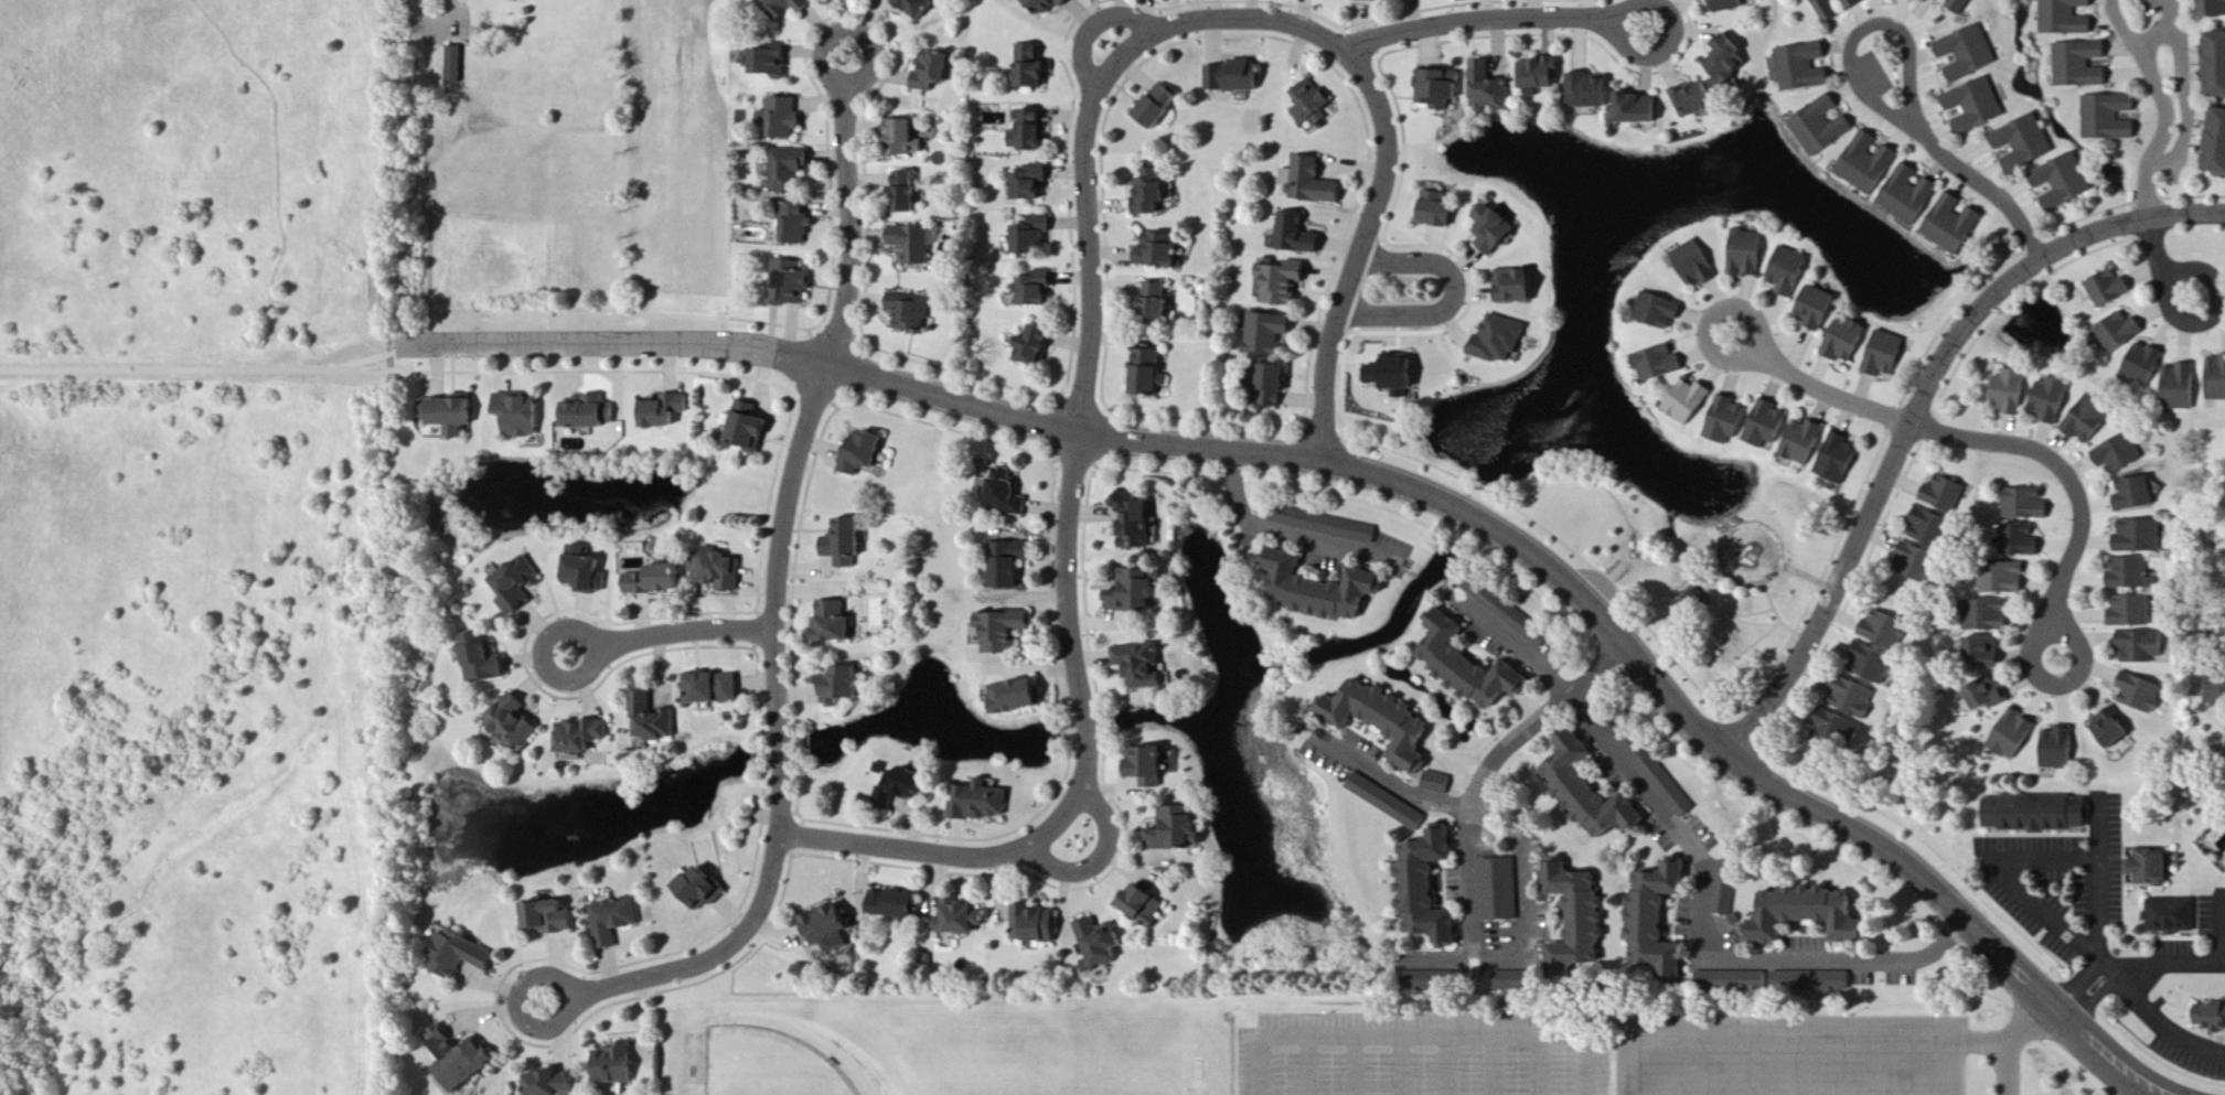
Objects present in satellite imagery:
building: (1359, 0)
building: (1943, 0)
building: (1855, 3)
building: (1049, 4)
building: (1729, 6)
building: (1964, 6)
building: (922, 7)
parking lot: (2154, 7)
building: (788, 9)
building: (2208, 9)
building: (1830, 10)
building: (2062, 18)
road: (1495, 21)
road: (435, 23)
road: (2159, 33)
road: (2128, 35)
building: (1970, 54)
building: (775, 62)
building: (1731, 62)
building: (457, 64)
building: (2076, 65)
building: (2211, 65)
building: (1806, 67)
building: (1037, 68)
building: (935, 72)
building: (1543, 74)
parking lot: (1875, 75)
road: (1911, 76)
building: (1243, 77)
building: (1217, 78)
building: (1444, 88)
road: (1863, 88)
building: (1490, 90)
building: (1594, 92)
building: (1700, 99)
building: (1315, 104)
building: (1979, 106)
building: (1164, 107)
road: (2187, 108)
building: (1644, 109)
building: (2105, 117)
building: (787, 118)
road: (1090, 121)
building: (1825, 127)
building: (1035, 131)
building: (909, 138)
road: (2161, 142)
building: (2028, 143)
building: (2212, 143)
building: (1871, 164)
building: (793, 169)
building: (1314, 183)
building: (2067, 183)
building: (1038, 184)
road: (1993, 192)
building: (911, 193)
building: (1154, 195)
building: (1912, 196)
building: (1441, 211)
road: (851, 213)
building: (801, 225)
building: (1956, 226)
building: (1497, 230)
building: (1039, 236)
building: (1302, 236)
building: (914, 246)
building: (1162, 253)
road: (1360, 254)
building: (1750, 254)
road: (2161, 264)
building: (1698, 265)
building: (1791, 273)
building: (1285, 281)
building: (793, 283)
building: (1519, 287)
building: (2105, 288)
building: (1042, 290)
building: (1162, 300)
road: (1455, 300)
building: (1818, 308)
building: (913, 311)
building: (1660, 311)
building: (2117, 332)
building: (1272, 333)
building: (1849, 340)
building: (1502, 341)
building: (1041, 347)
building: (1887, 354)
building: (2138, 363)
building: (1662, 365)
road: (201, 372)
building: (1154, 374)
building: (1399, 374)
building: (2190, 384)
building: (1280, 386)
road: (1819, 390)
building: (2012, 394)
building: (2055, 400)
building: (1690, 402)
building: (671, 412)
building: (590, 414)
building: (458, 415)
building: (524, 415)
road: (1917, 415)
building: (1729, 420)
building: (2092, 420)
building: (1769, 425)
building: (753, 429)
building: (1806, 442)
building: (2112, 452)
building: (866, 453)
road: (1301, 459)
building: (1841, 459)
road: (2074, 486)
building: (2128, 493)
building: (1010, 494)
building: (1947, 494)
building: (2026, 505)
building: (1137, 524)
building: (1329, 526)
building: (1935, 529)
road: (1287, 534)
building: (2135, 536)
building: (2018, 541)
building: (848, 544)
building: (1921, 563)
building: (1014, 565)
building: (719, 569)
building: (586, 571)
building: (2124, 572)
building: (2000, 576)
building: (521, 588)
building: (1326, 590)
building: (1137, 594)
building: (2126, 610)
building: (1510, 613)
building: (1982, 613)
building: (837, 624)
building: (1889, 631)
building: (1007, 632)
building: (2137, 645)
road: (600, 650)
building: (1977, 651)
building: (486, 661)
building: (1873, 664)
building: (1145, 666)
building: (846, 687)
building: (718, 689)
building: (2212, 689)
building: (2135, 691)
building: (1980, 693)
building: (1021, 698)
building: (1858, 700)
building: (654, 718)
building: (1387, 722)
building: (516, 723)
building: (2105, 727)
building: (1840, 732)
building: (2010, 733)
building: (584, 737)
building: (2054, 748)
building: (1153, 769)
road: (1083, 775)
road: (1390, 780)
building: (1441, 783)
building: (907, 786)
building: (1597, 794)
building: (984, 803)
building: (1390, 804)
building: (2030, 813)
road: (779, 829)
road: (2098, 830)
building: (1180, 833)
road: (2015, 857)
road: (1098, 858)
road: (1705, 865)
building: (2143, 867)
building: (1432, 889)
building: (1727, 889)
building: (705, 890)
building: (1501, 891)
road: (1459, 897)
building: (898, 905)
building: (1148, 908)
building: (1796, 912)
building: (2167, 914)
building: (962, 917)
building: (1582, 919)
building: (1661, 919)
building: (552, 920)
building: (617, 922)
building: (1038, 925)
building: (832, 927)
building: (1104, 945)
building: (463, 957)
road: (2170, 963)
building: (1727, 979)
building: (1808, 980)
building: (1433, 981)
road: (2080, 985)
road: (2096, 1000)
building: (2206, 1016)
road: (2164, 1026)
road: (1793, 1034)
road: (2009, 1038)
road: (1420, 1041)
road: (2093, 1042)
road: (2051, 1045)
building: (464, 1060)
park: (764, 1064)
building: (620, 1065)
road: (1350, 1067)
road: (1397, 1067)
road: (1443, 1067)
road: (1490, 1067)
road: (1538, 1067)
road: (1305, 1069)
building: (553, 1084)

